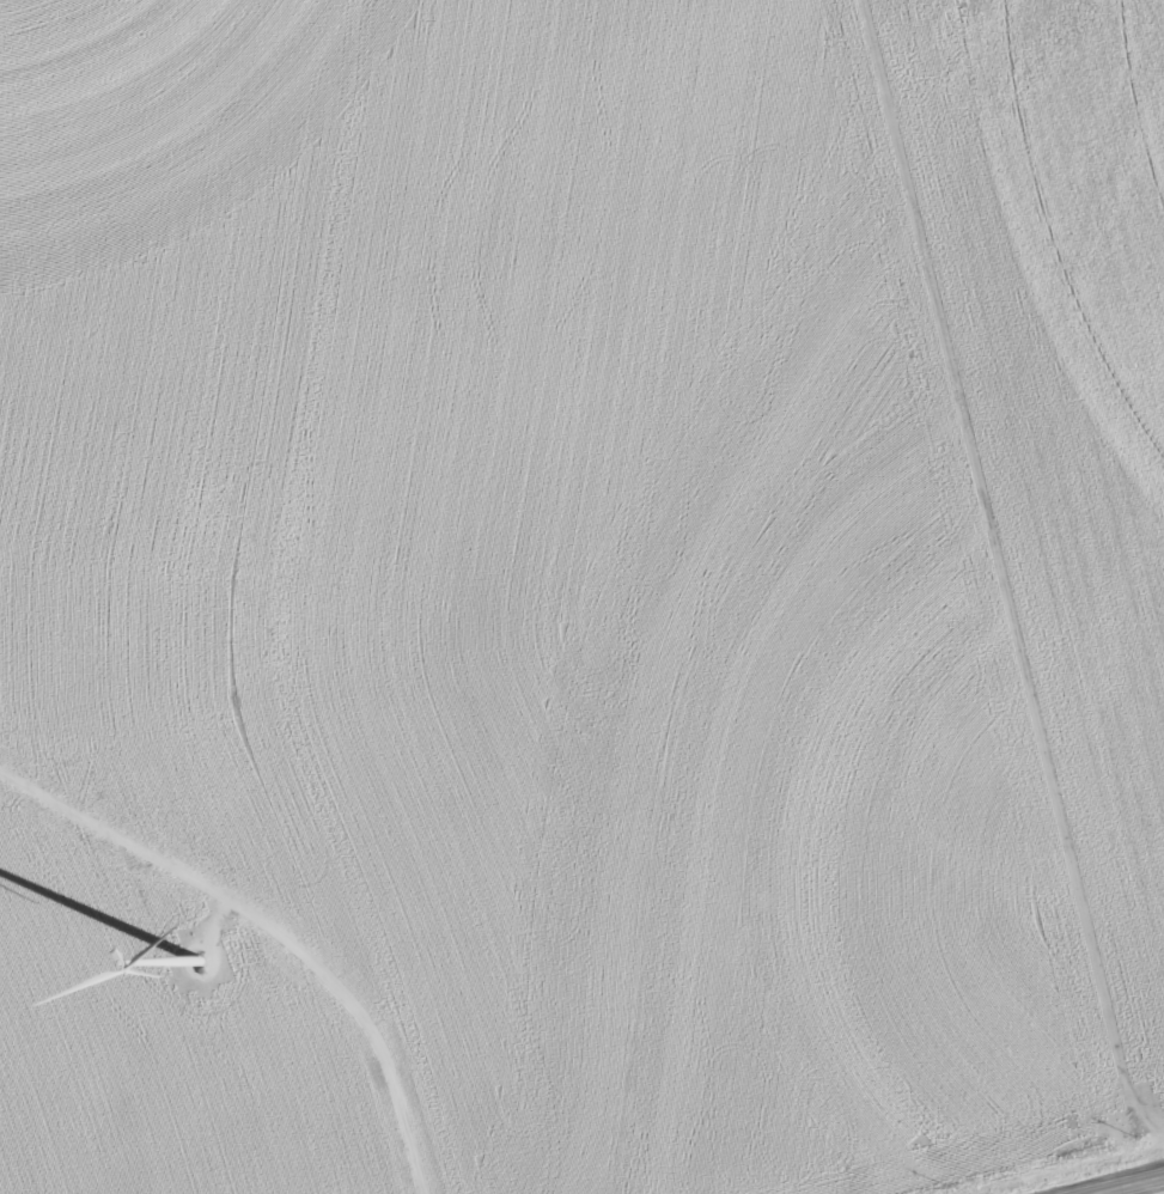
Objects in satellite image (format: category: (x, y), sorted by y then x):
road: (272, 928)
wind turbine: (191, 962)
road: (1131, 1186)
road: (1159, 1187)

